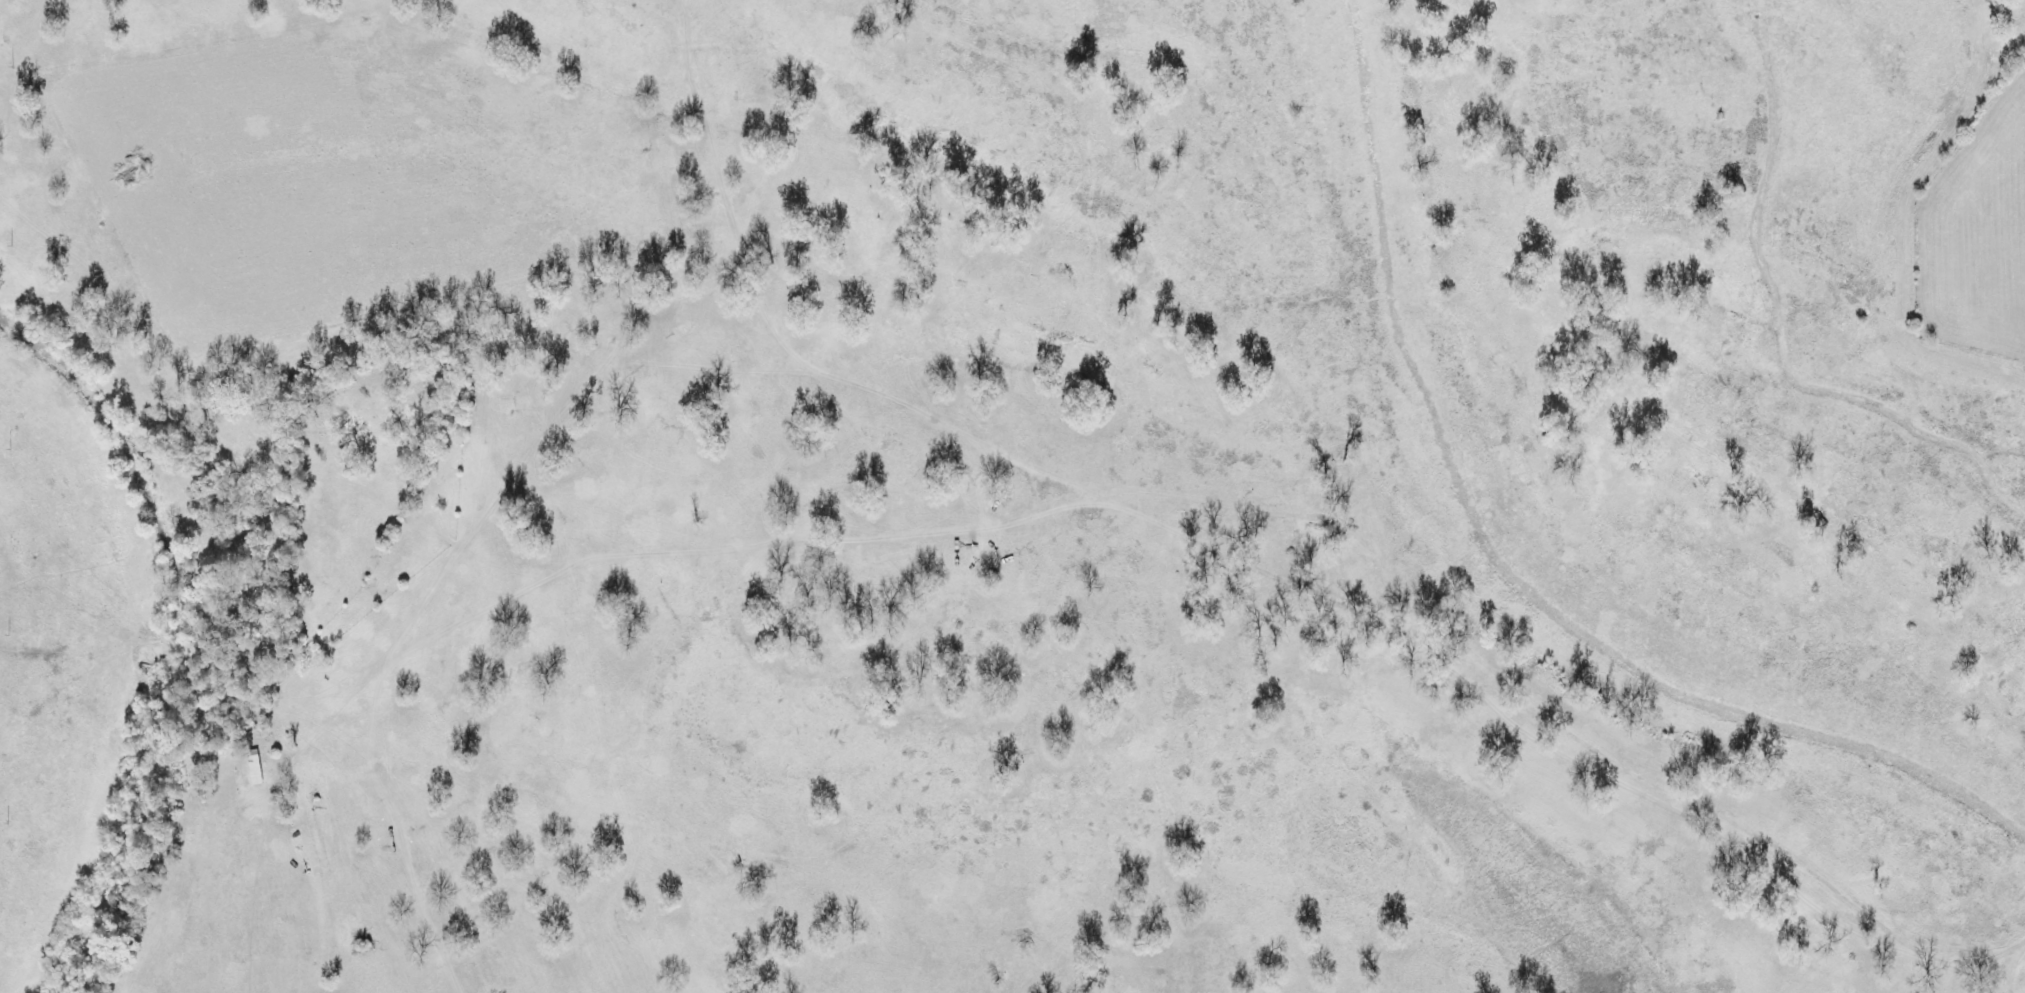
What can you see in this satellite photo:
road: (1217, 588)
road: (548, 806)
road: (184, 820)

